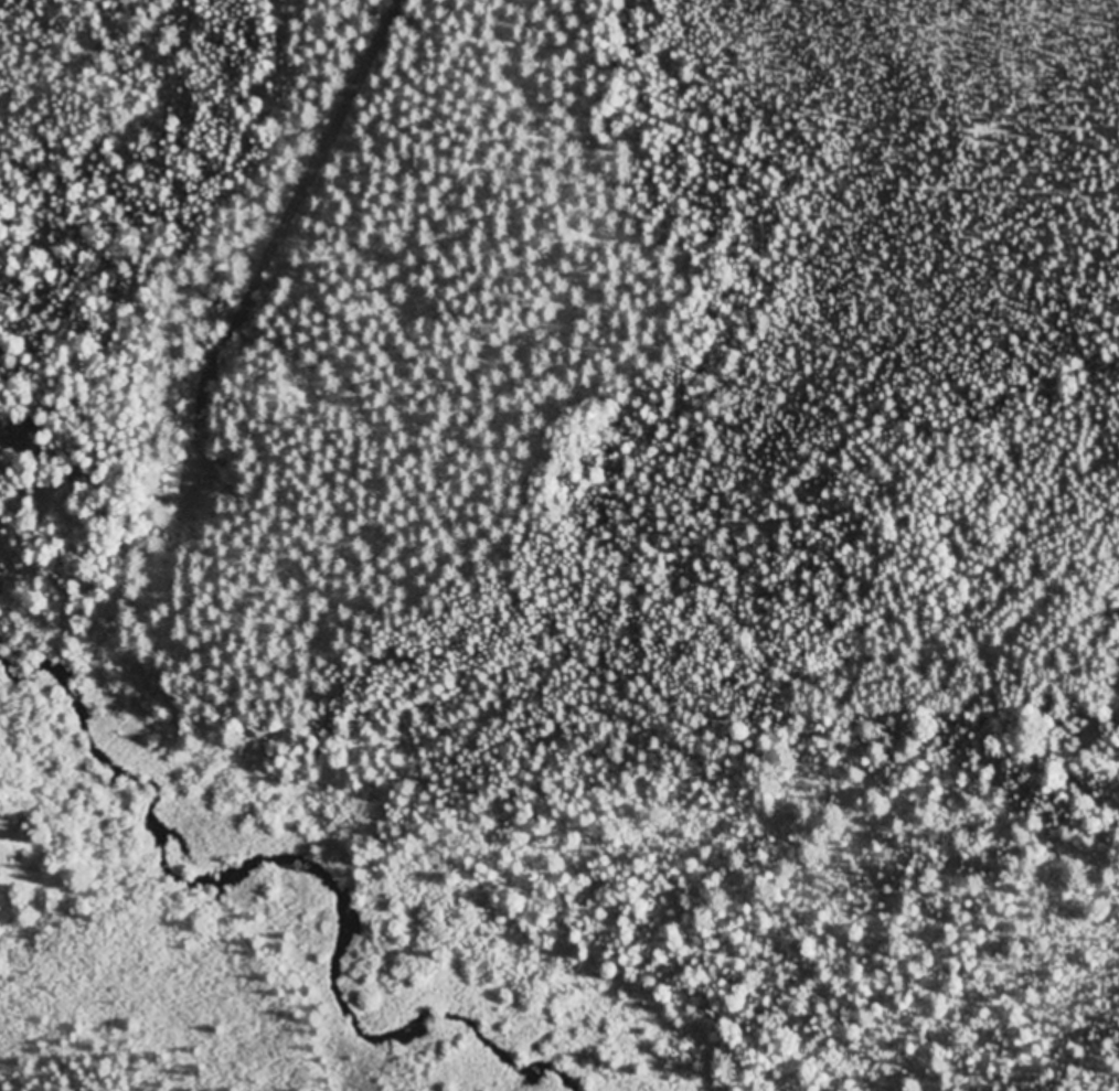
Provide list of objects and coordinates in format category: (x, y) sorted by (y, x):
road: (217, 239)

